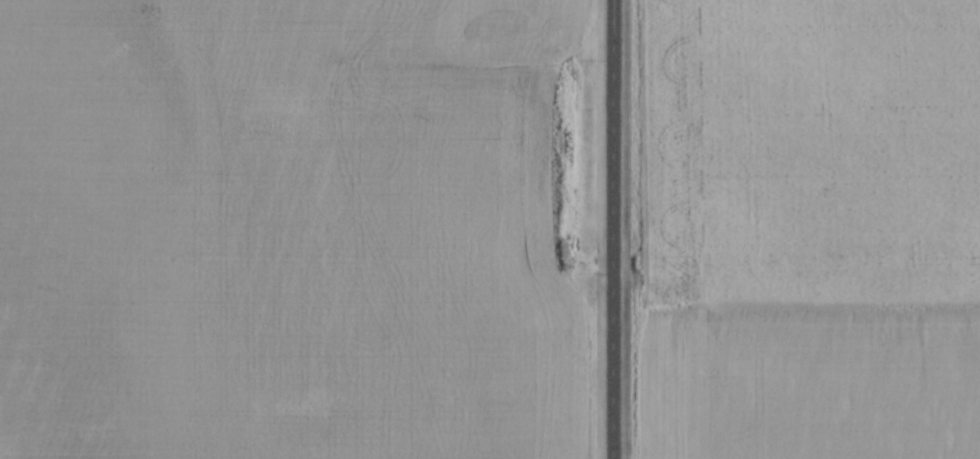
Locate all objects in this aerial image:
road: (614, 229)

